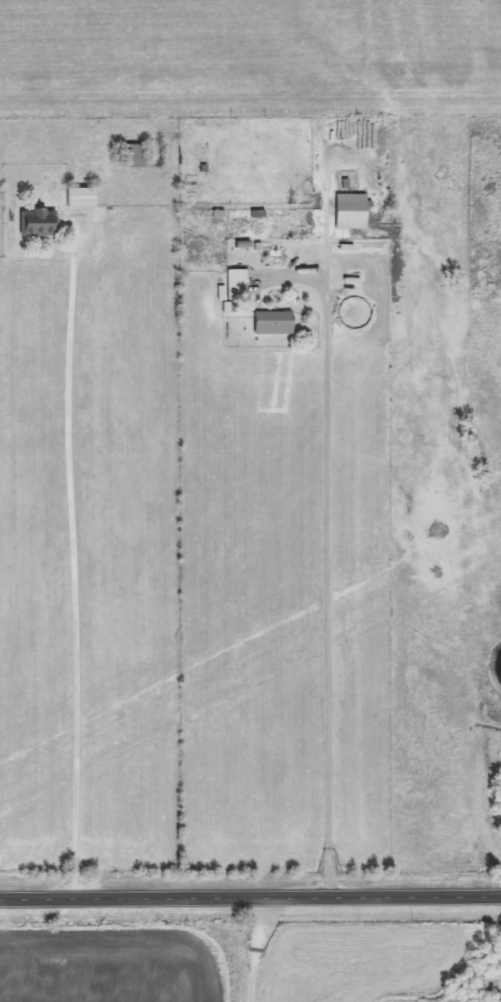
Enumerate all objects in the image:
building: (130, 156)
building: (77, 199)
building: (347, 212)
building: (35, 223)
building: (233, 285)
building: (270, 323)
road: (71, 561)
road: (324, 574)
road: (250, 893)
road: (255, 947)

